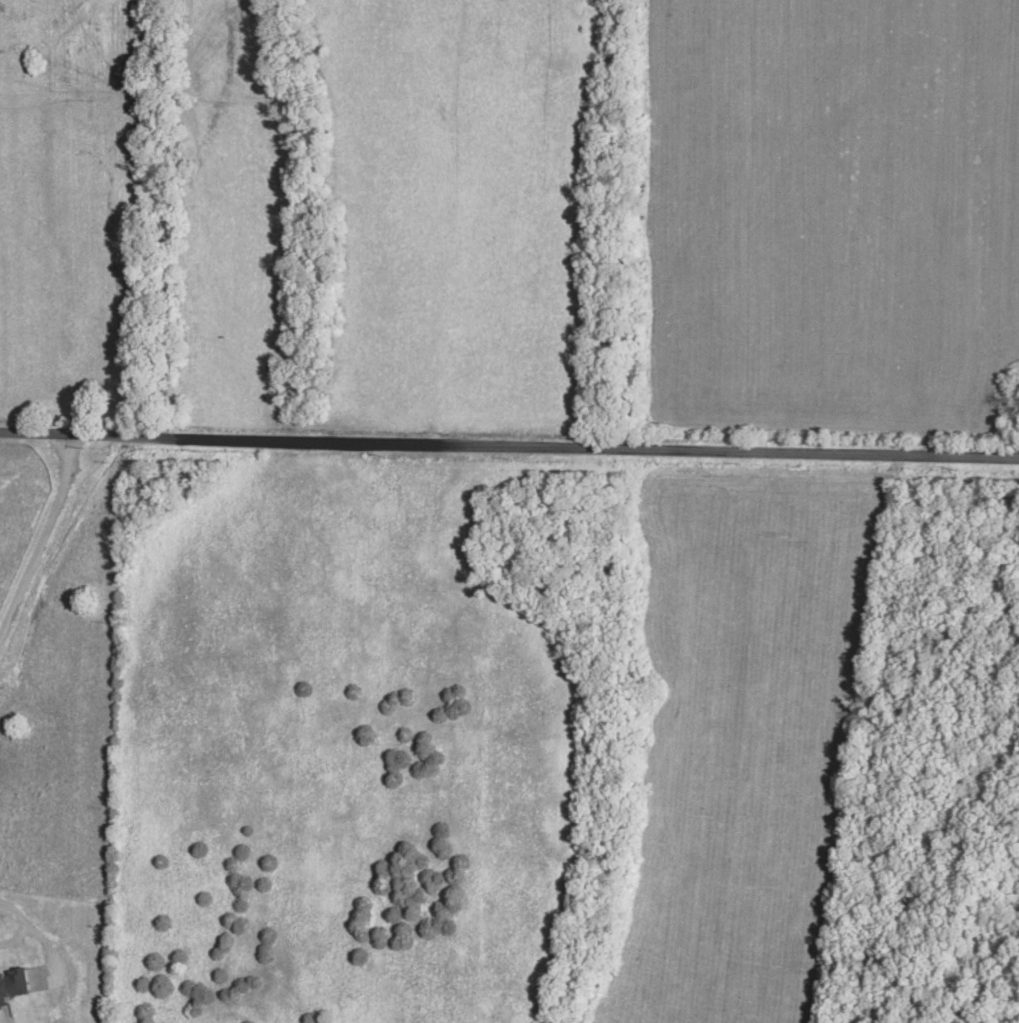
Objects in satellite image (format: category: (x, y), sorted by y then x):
road: (509, 446)
road: (42, 534)

